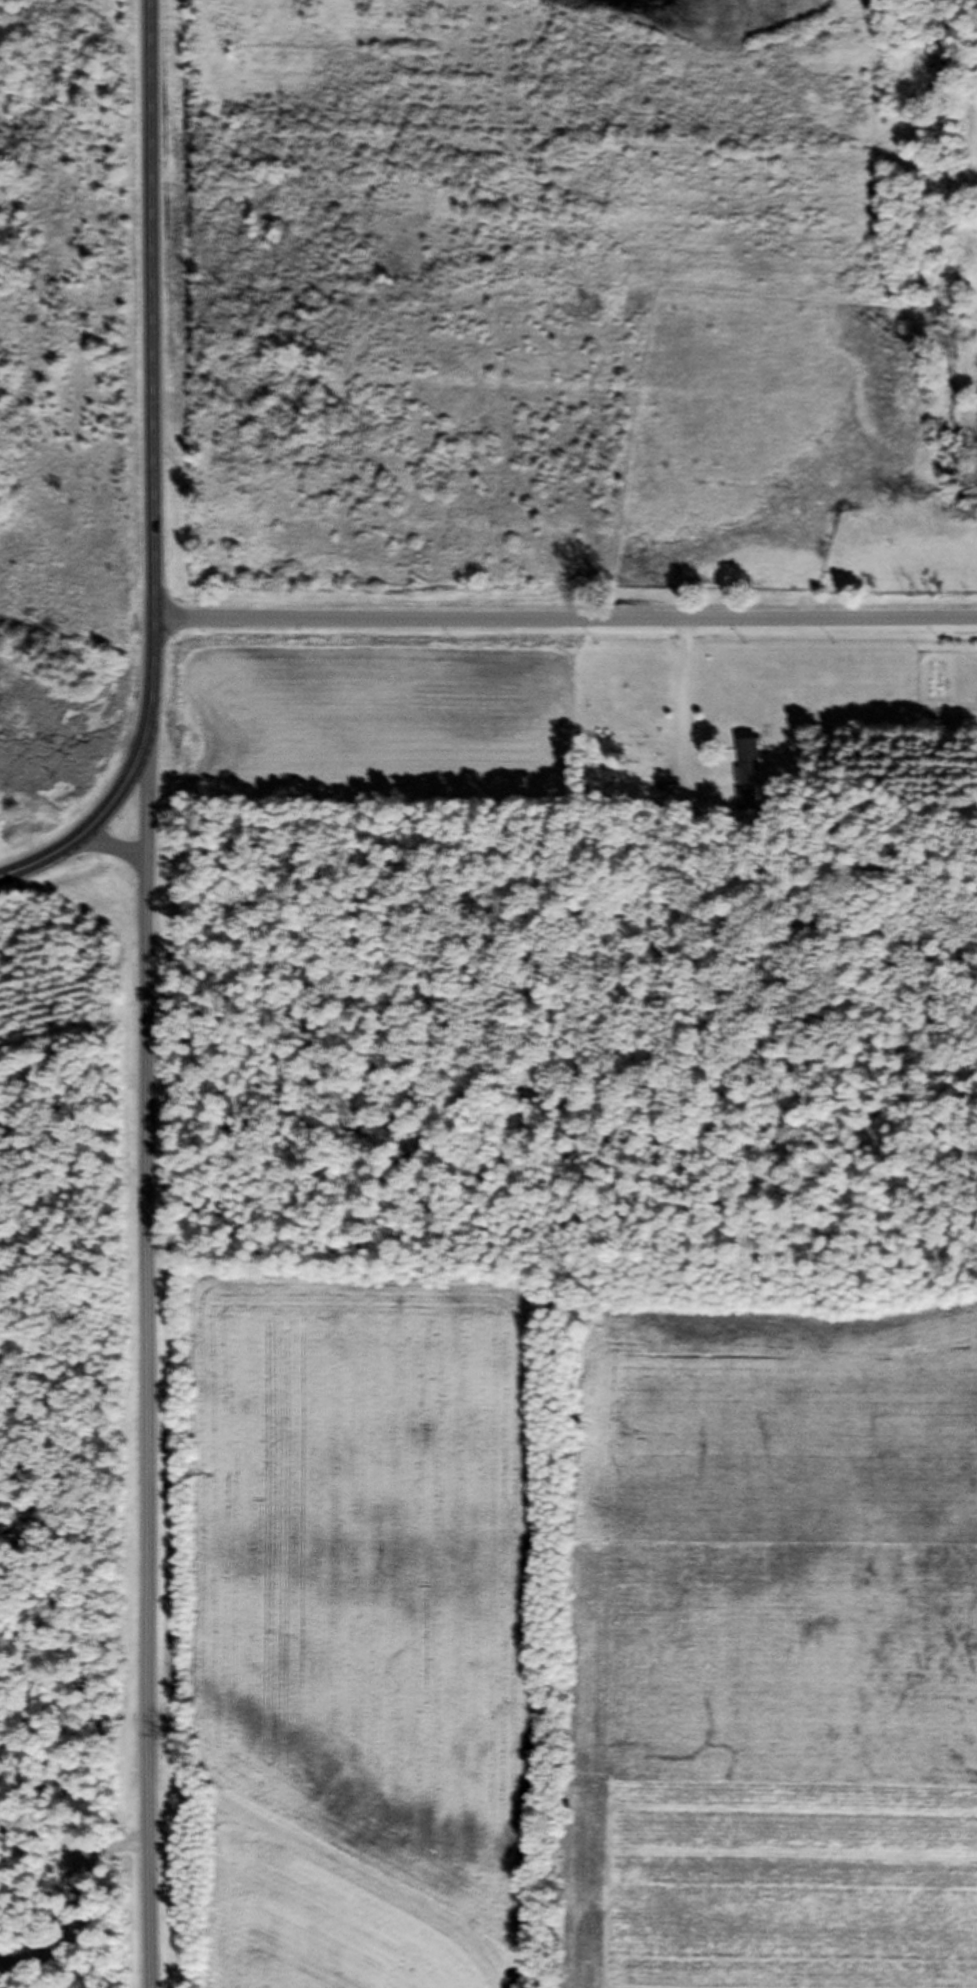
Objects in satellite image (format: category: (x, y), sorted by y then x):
road: (151, 474)
road: (565, 620)
building: (747, 768)
road: (146, 1345)
road: (73, 1903)

